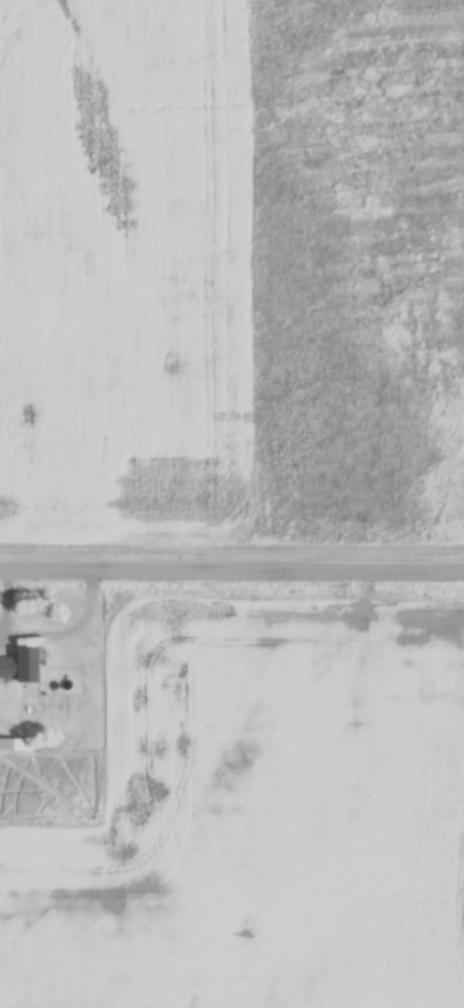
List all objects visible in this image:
road: (231, 571)
building: (20, 665)
building: (15, 744)

